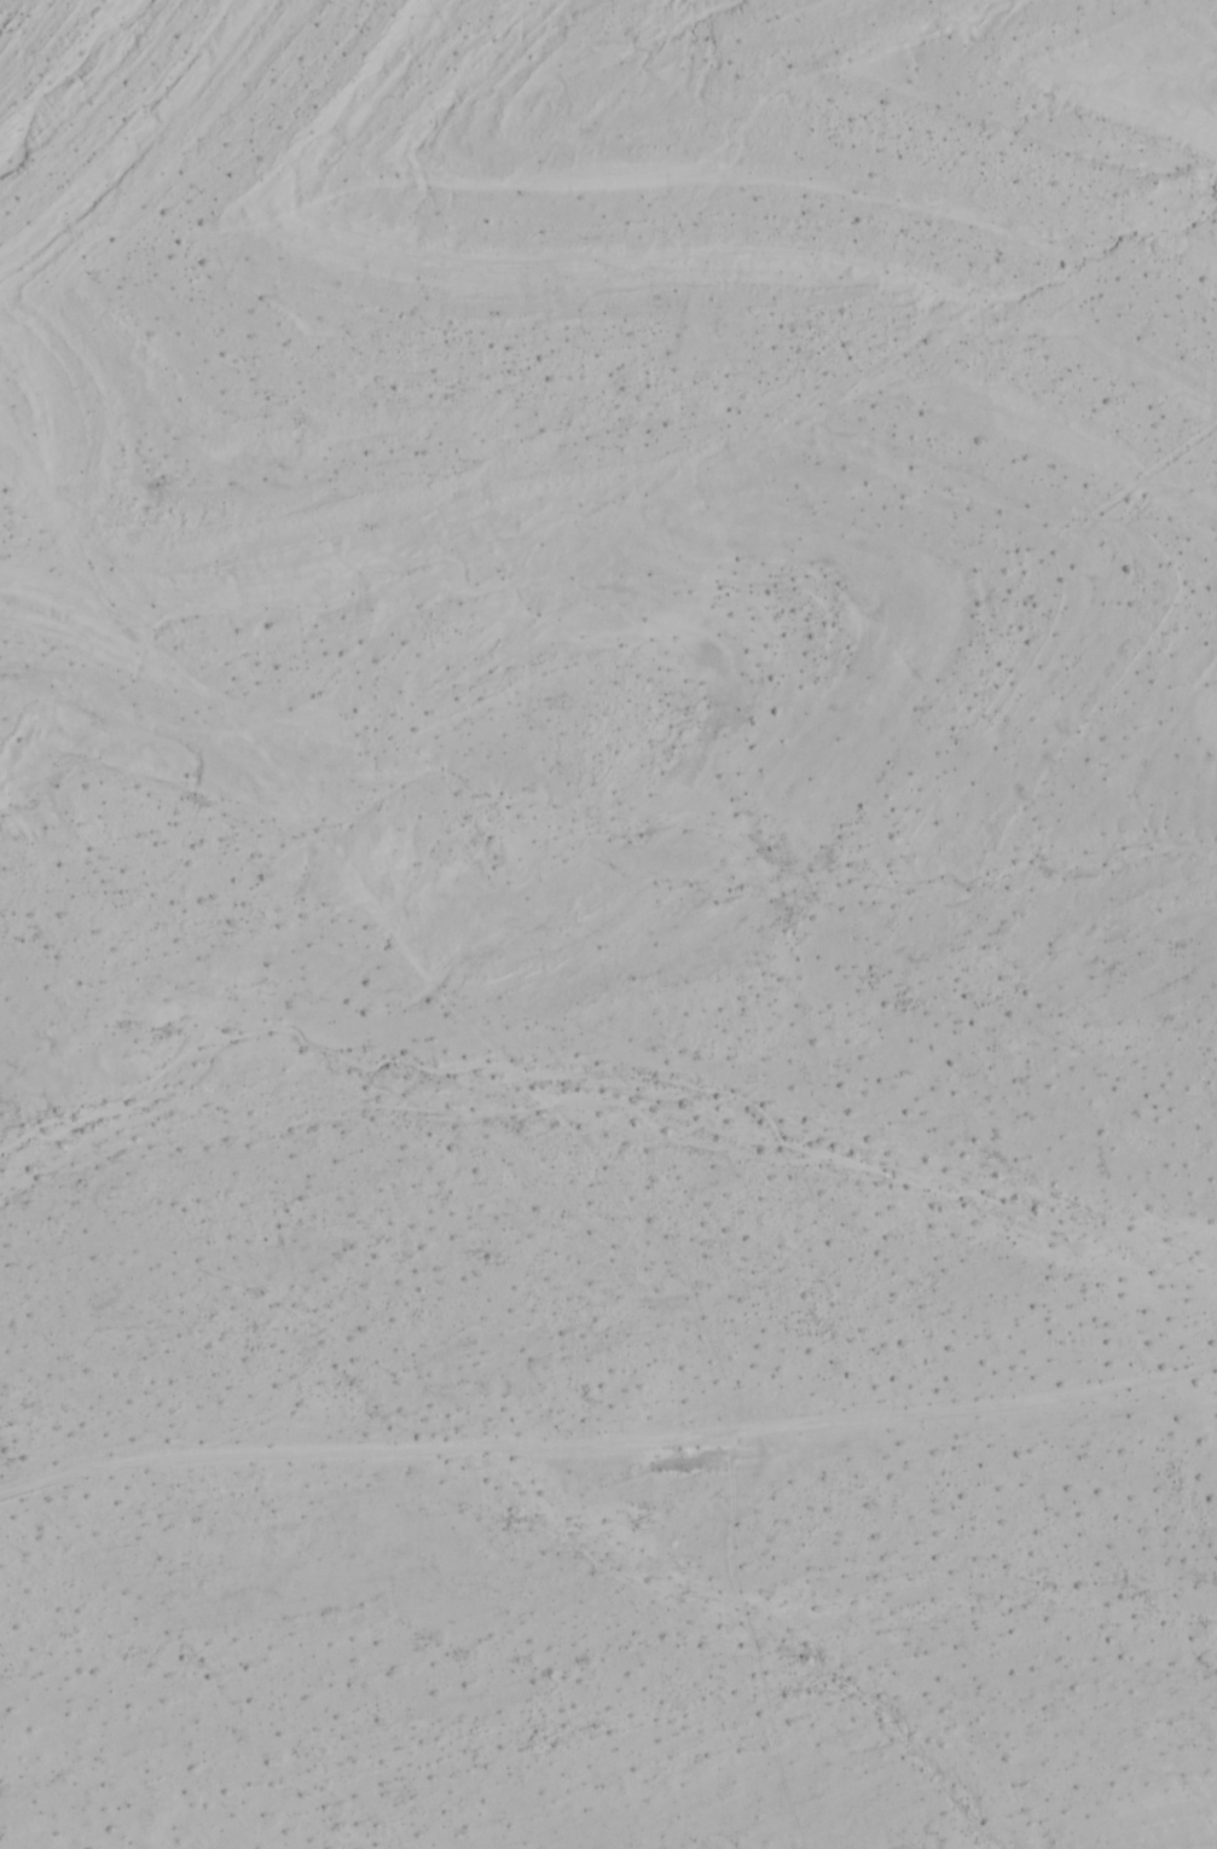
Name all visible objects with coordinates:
road: (608, 1439)

